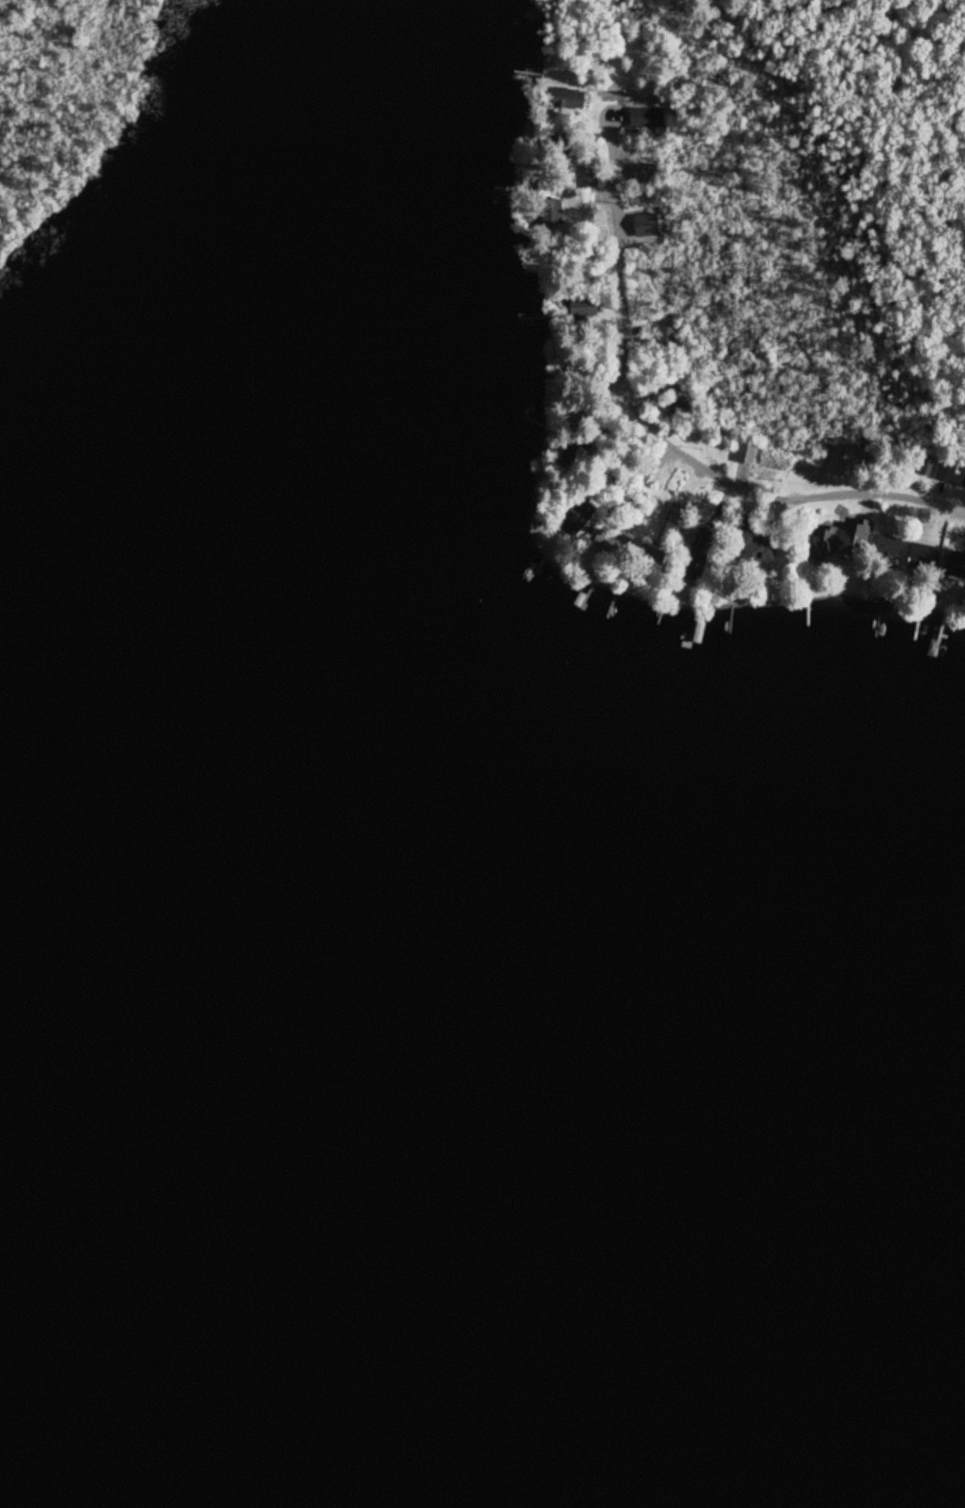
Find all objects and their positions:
building: (565, 98)
building: (646, 118)
building: (644, 173)
building: (589, 181)
building: (551, 191)
building: (646, 226)
building: (680, 409)
road: (655, 431)
building: (576, 450)
building: (746, 452)
building: (843, 460)
building: (945, 470)
building: (642, 472)
building: (964, 483)
building: (679, 516)
building: (572, 520)
building: (838, 540)
building: (612, 544)
building: (744, 549)
building: (699, 554)
building: (922, 556)
building: (775, 558)
building: (955, 563)

